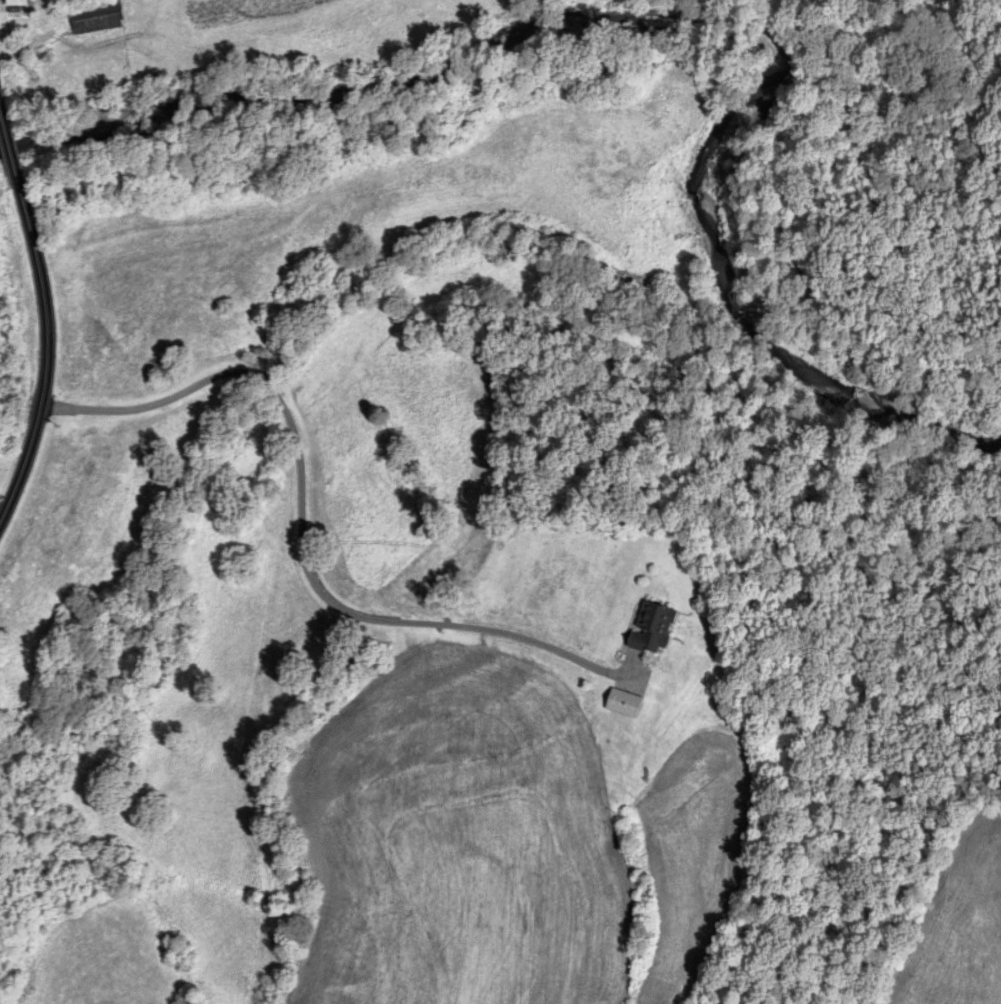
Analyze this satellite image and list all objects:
building: (15, 3)
building: (92, 17)
road: (47, 311)
road: (309, 525)
building: (650, 628)

